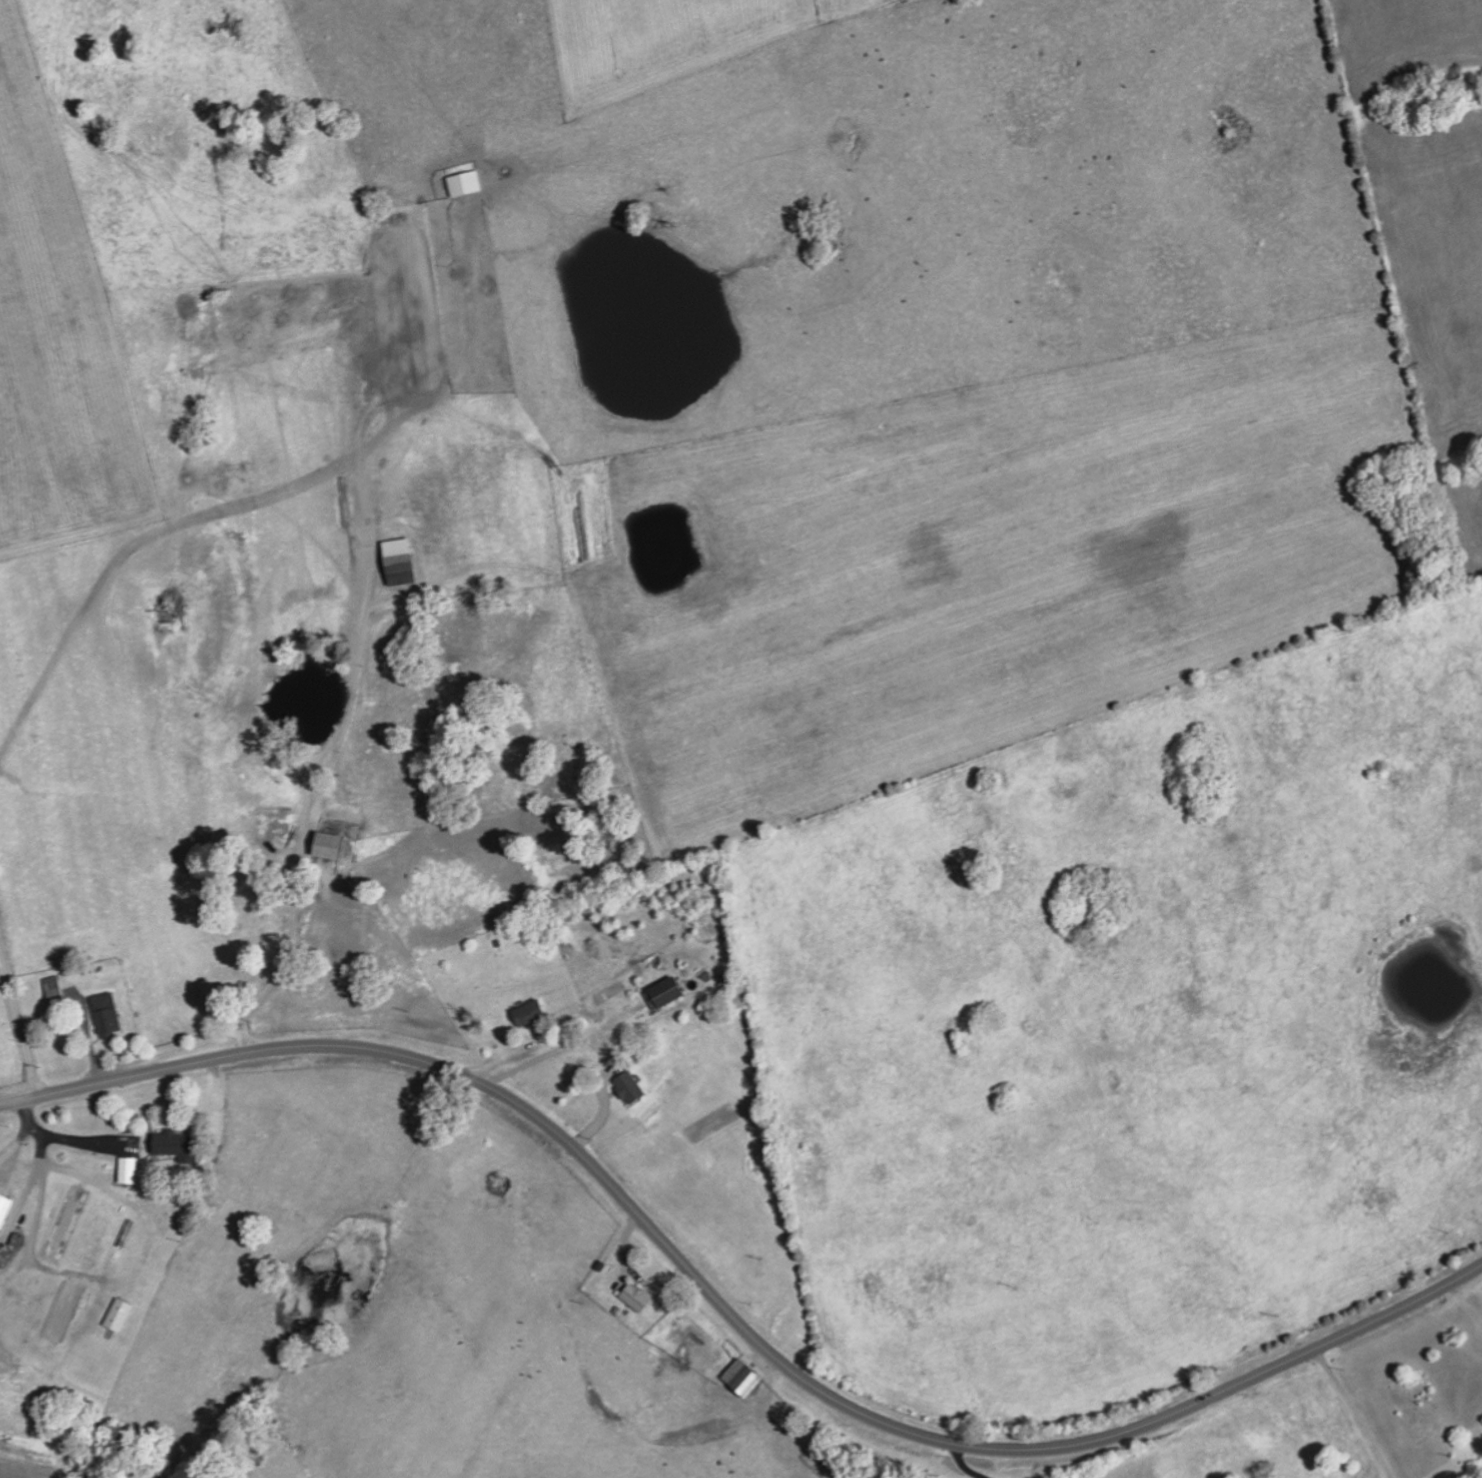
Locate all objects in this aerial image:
building: (463, 183)
road: (531, 363)
building: (396, 556)
road: (378, 656)
building: (327, 846)
building: (52, 991)
building: (665, 992)
building: (528, 1014)
building: (105, 1015)
road: (17, 1028)
road: (567, 1047)
building: (628, 1088)
road: (23, 1134)
road: (73, 1146)
building: (175, 1146)
building: (126, 1171)
building: (4, 1209)
building: (635, 1297)
road: (731, 1311)
building: (117, 1315)
road: (1354, 1412)
road: (963, 1466)

